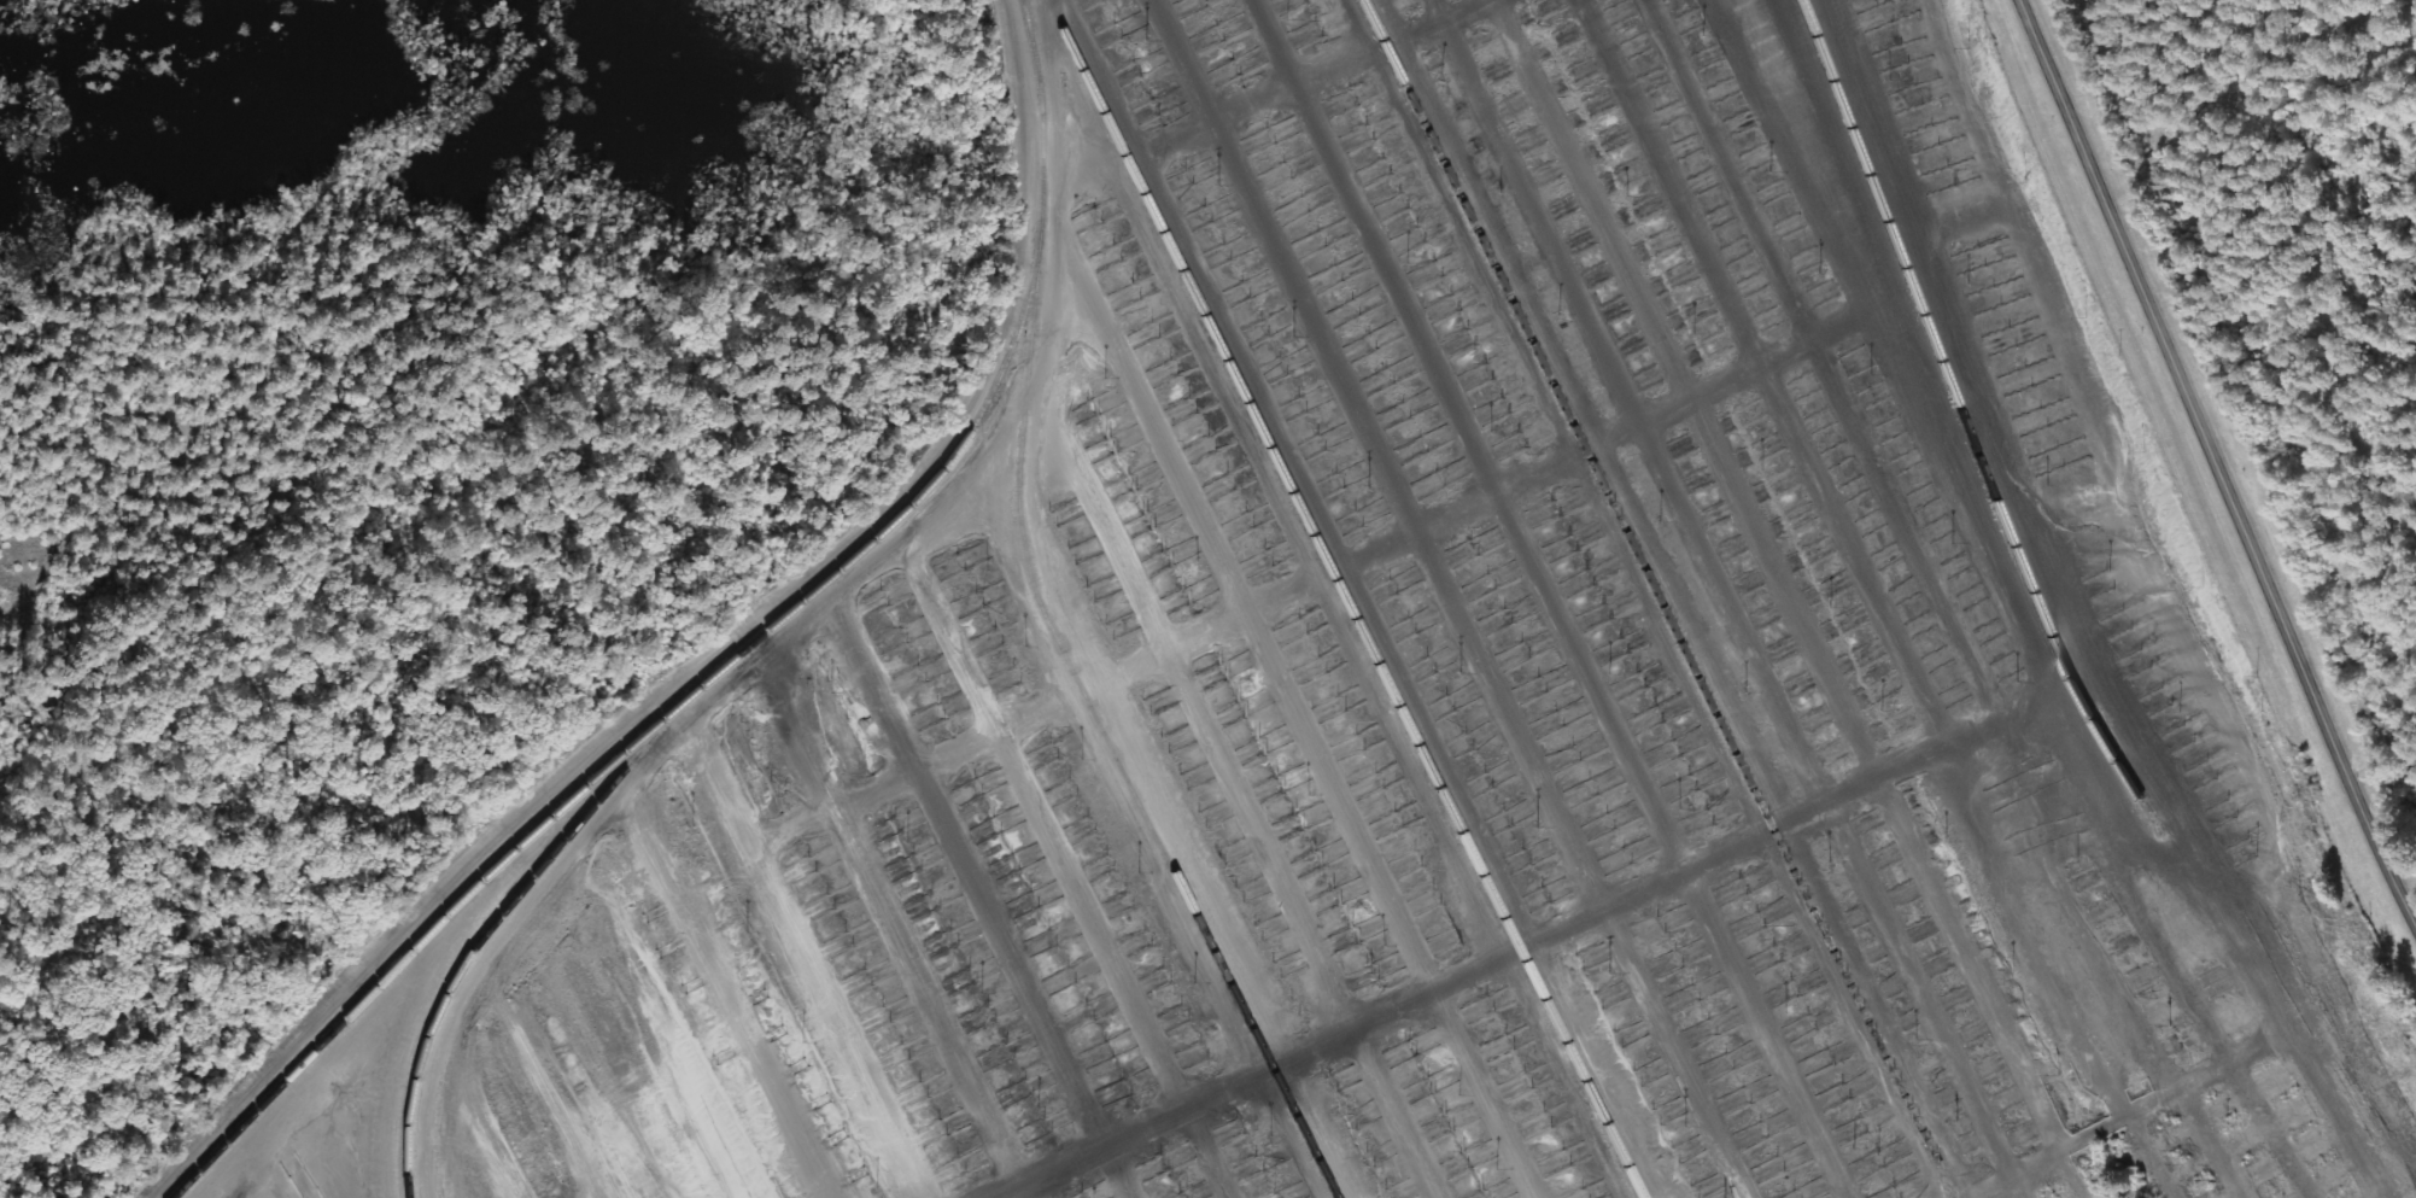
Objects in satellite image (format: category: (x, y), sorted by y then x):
building: (1581, 70)
building: (1601, 104)
building: (1264, 139)
railway: (1960, 419)
building: (1201, 450)
road: (2215, 463)
building: (1222, 487)
railway: (1649, 583)
railway: (1342, 598)
railway: (730, 659)
railway: (1100, 730)
railway: (495, 918)

